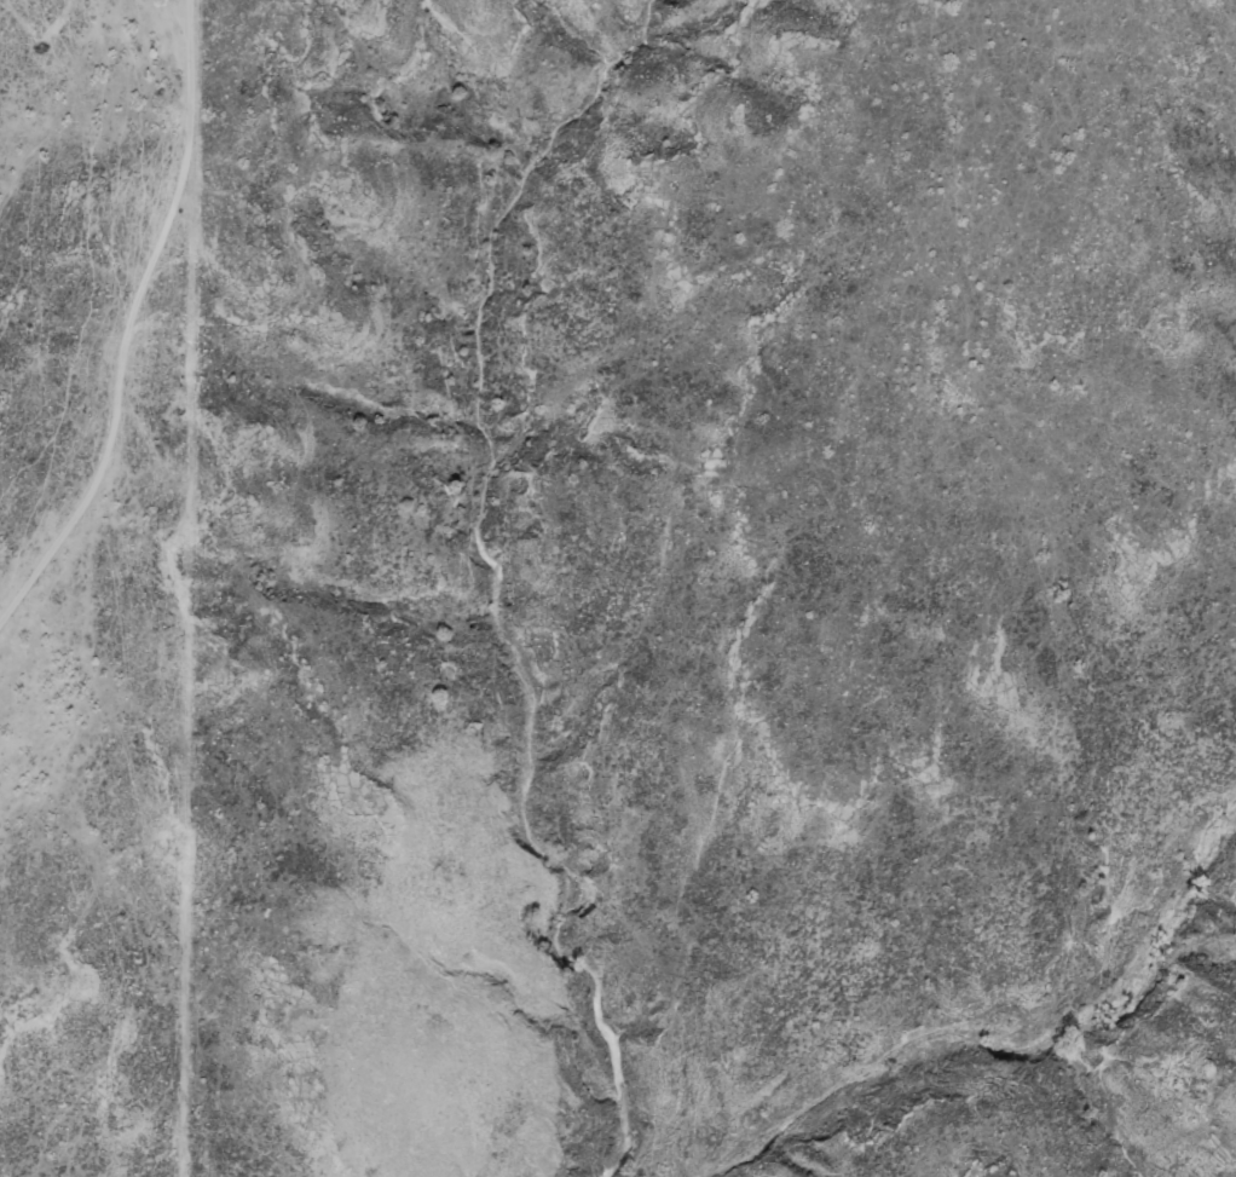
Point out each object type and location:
road: (126, 327)

